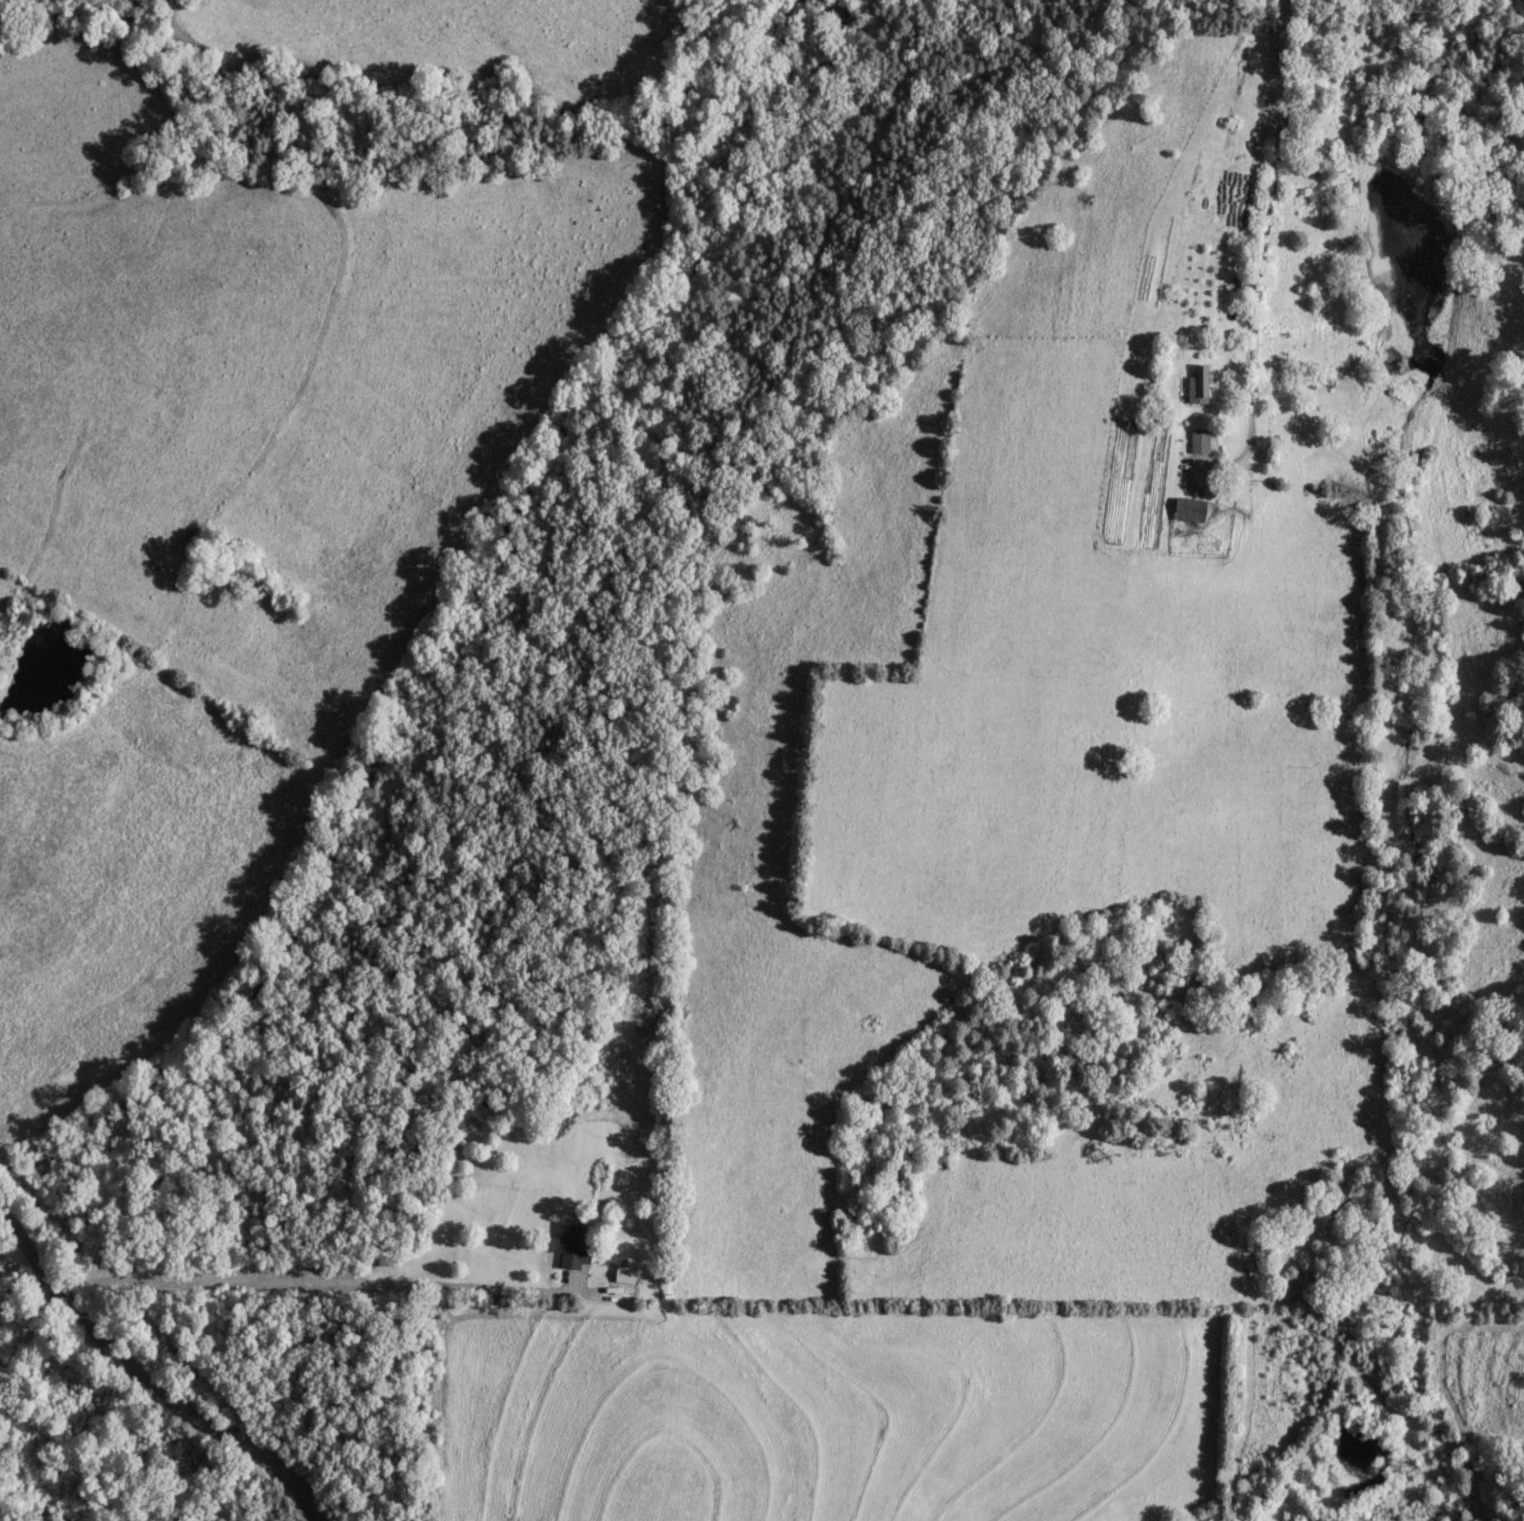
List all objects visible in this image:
road: (1264, 227)
building: (1197, 383)
building: (1198, 438)
building: (1188, 508)
road: (8, 1232)
building: (572, 1244)
building: (623, 1273)
road: (308, 1282)
road: (30, 1327)
road: (143, 1379)

